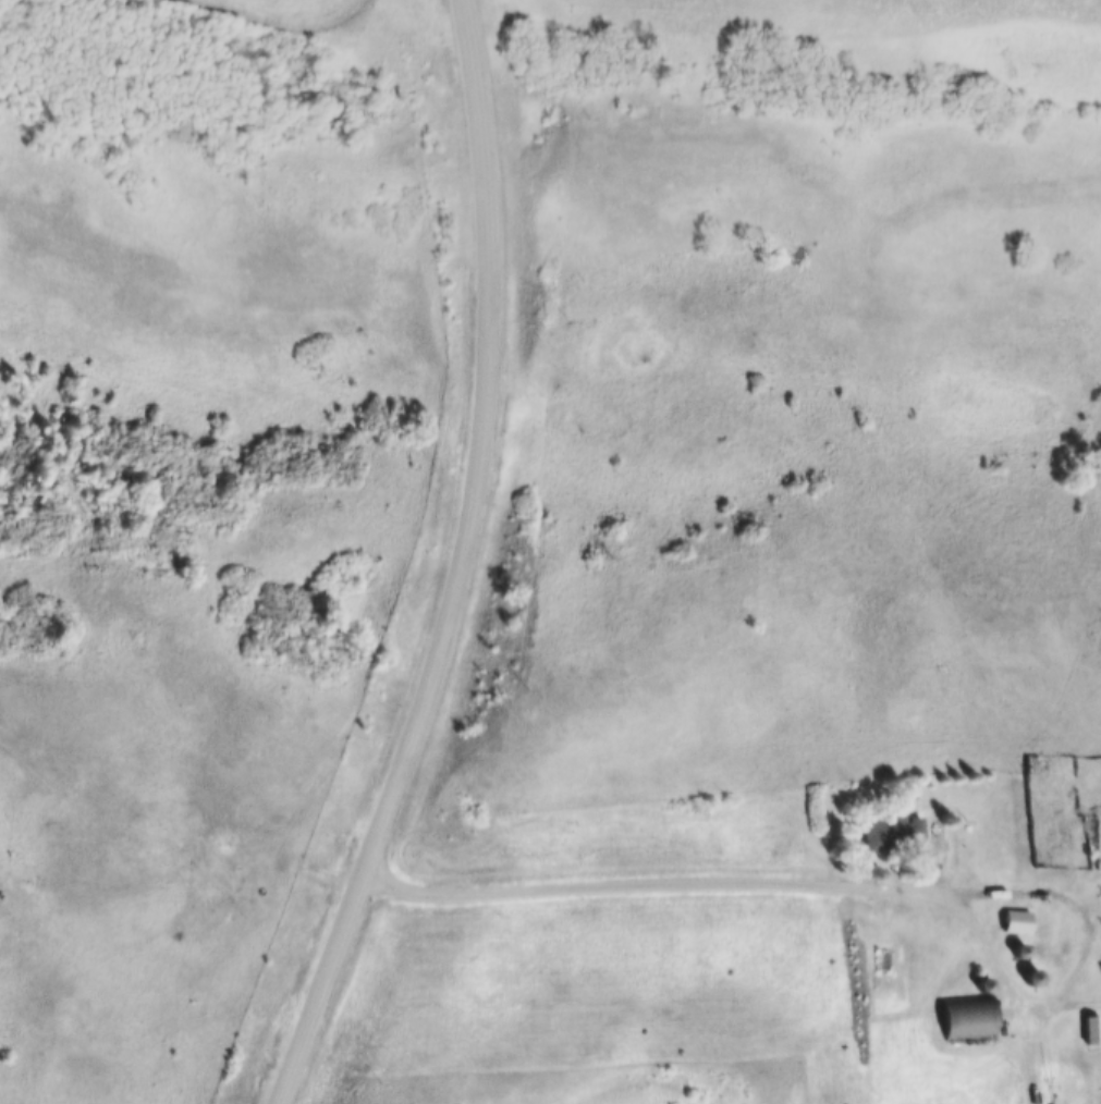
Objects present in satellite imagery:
road: (462, 565)
building: (1036, 764)
building: (877, 825)
building: (935, 833)
road: (878, 883)
building: (1008, 912)
building: (1016, 921)
building: (1010, 944)
building: (1022, 970)
building: (975, 977)
building: (1032, 977)
building: (961, 1009)
building: (1082, 1021)
building: (1091, 1029)
road: (1031, 1059)

